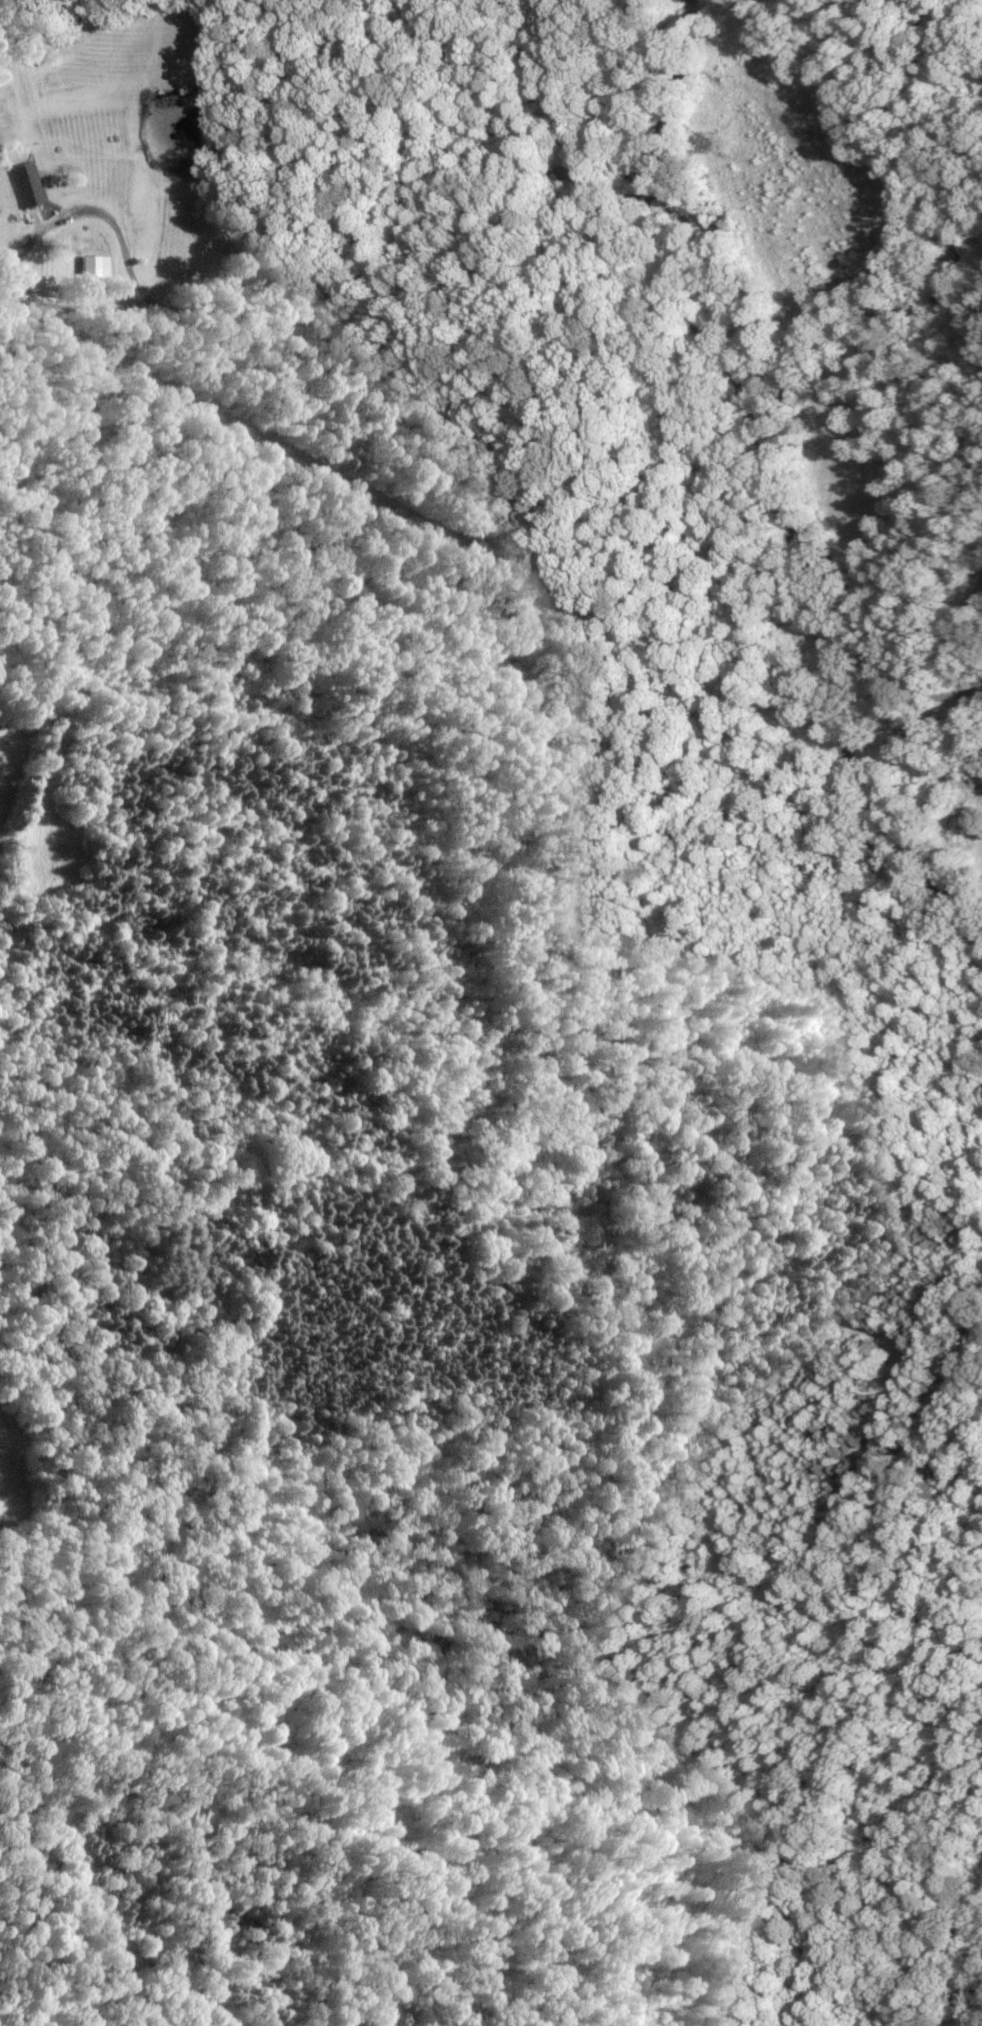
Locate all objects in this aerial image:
building: (21, 185)
road: (280, 266)
building: (88, 267)
road: (709, 398)
road: (966, 688)

